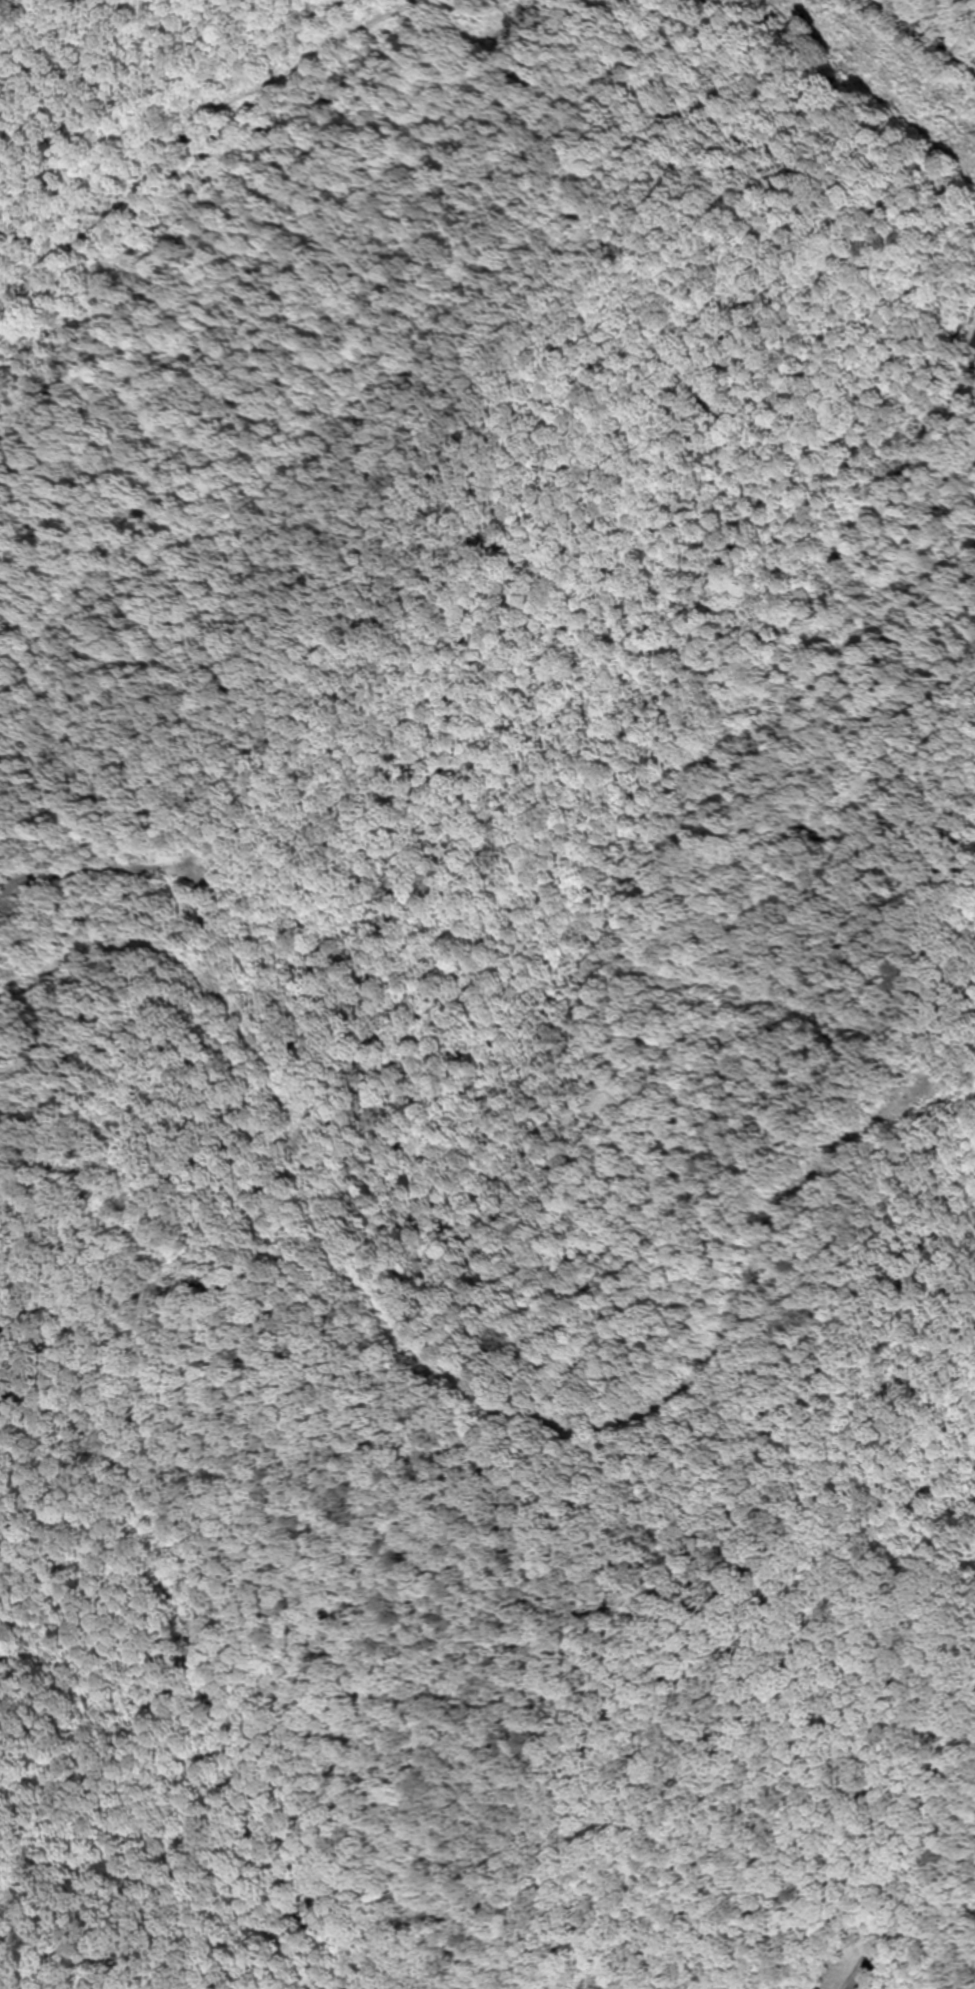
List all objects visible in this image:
road: (927, 35)

